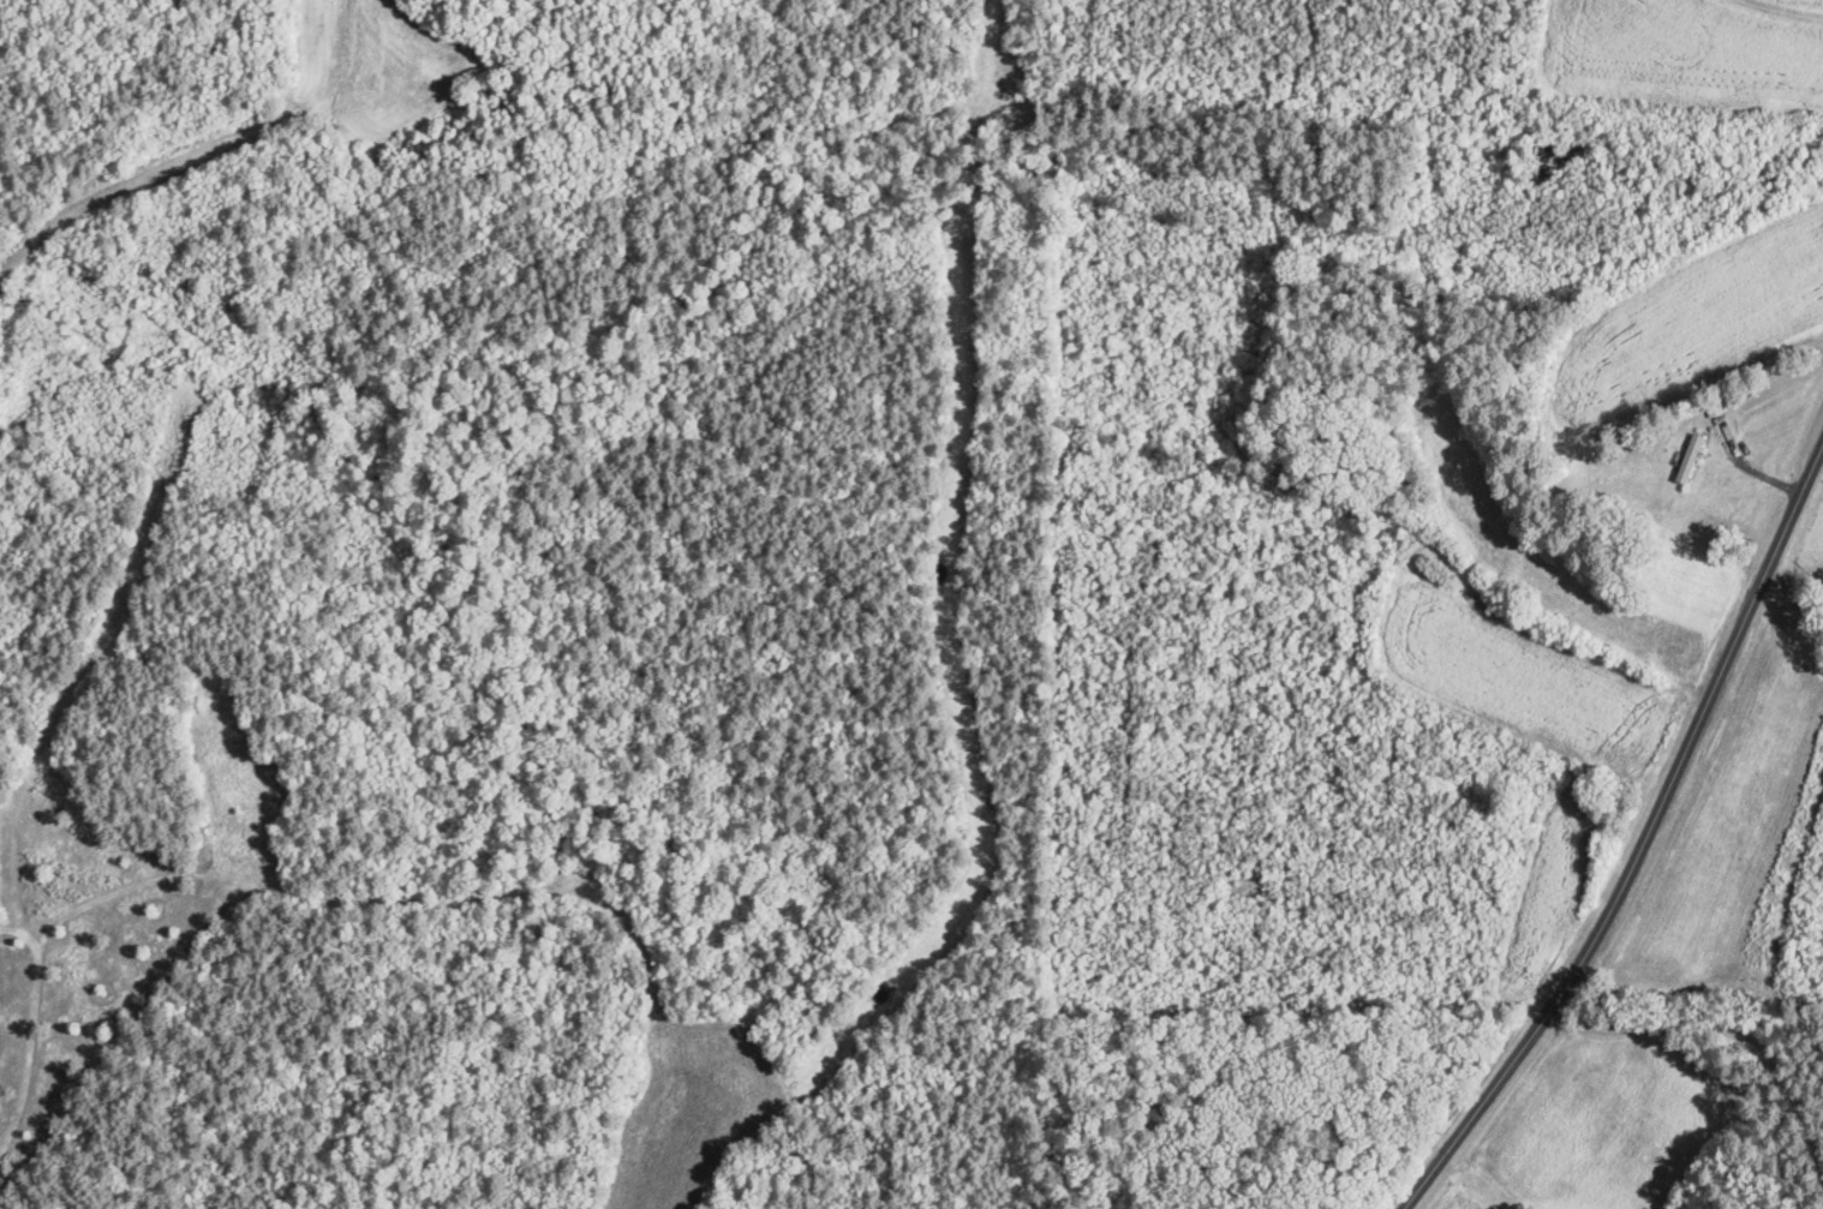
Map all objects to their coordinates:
building: (1690, 459)
road: (1795, 601)
crop: (1731, 826)
road: (1645, 839)

